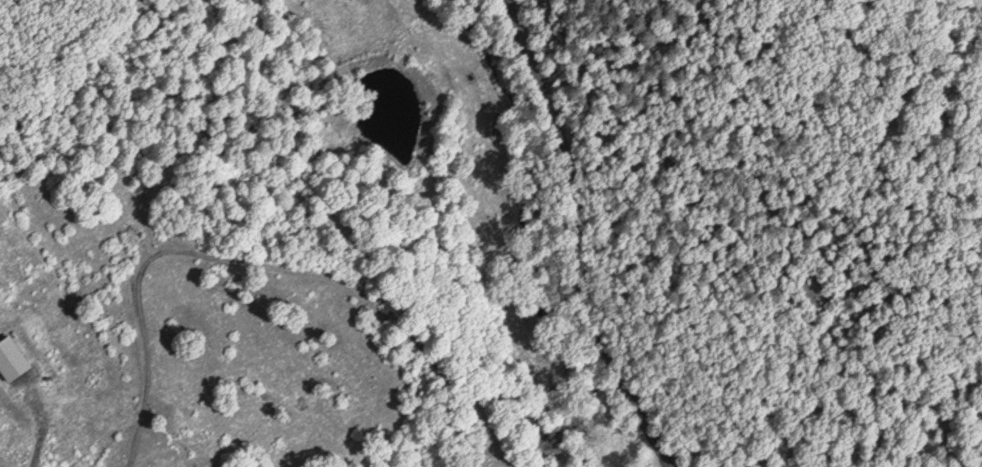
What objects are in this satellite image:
road: (578, 237)

